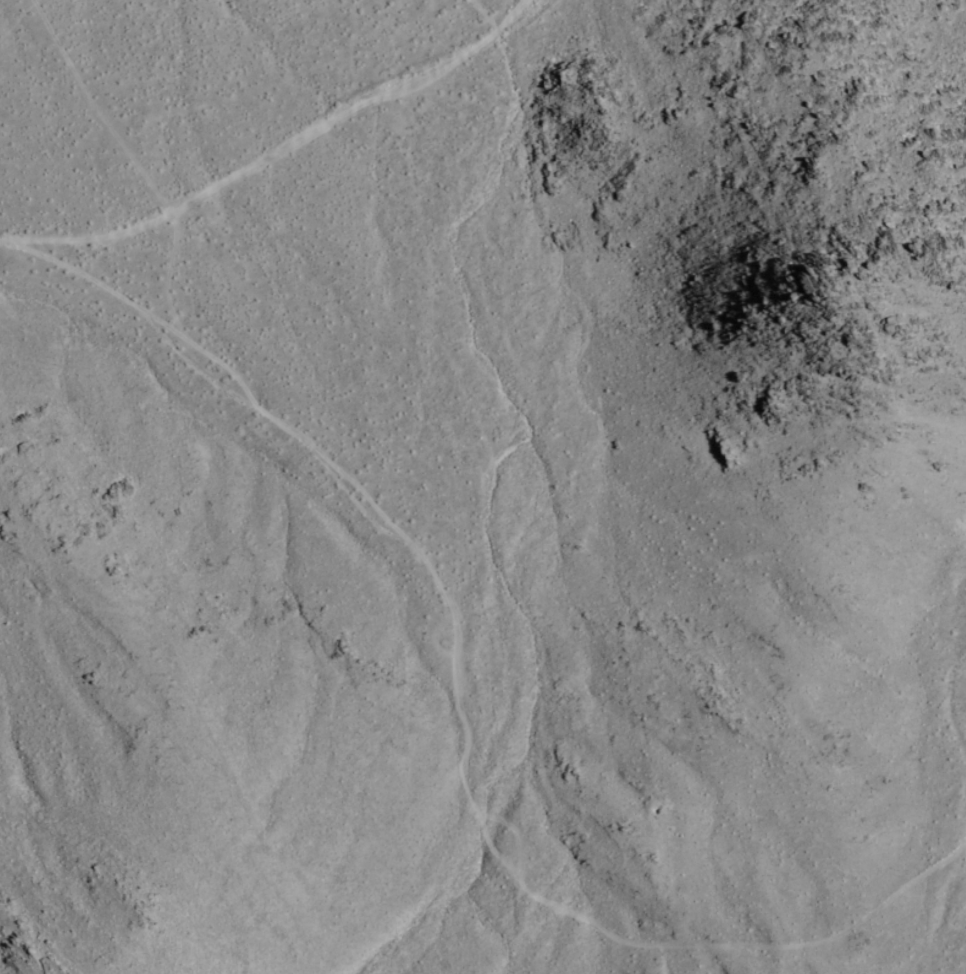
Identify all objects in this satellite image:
road: (466, 698)
road: (951, 911)

